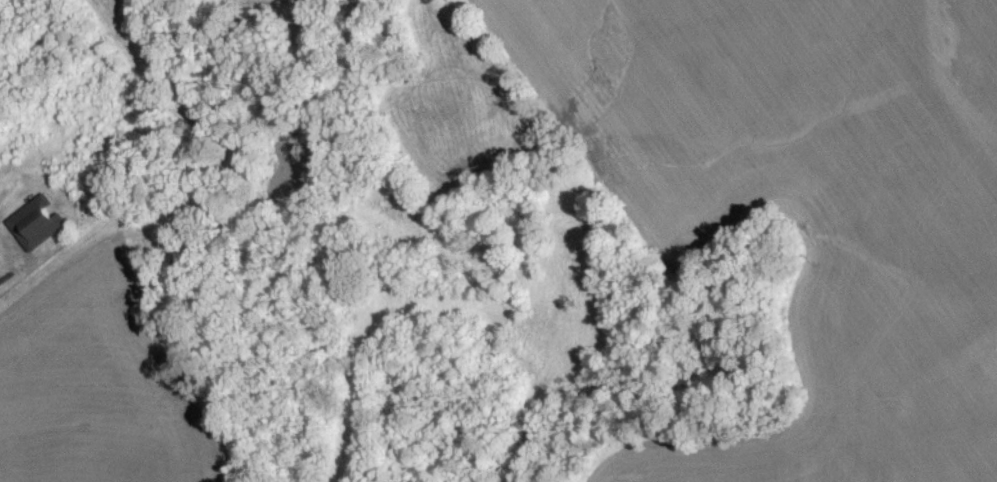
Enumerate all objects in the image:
building: (36, 229)
road: (38, 267)

